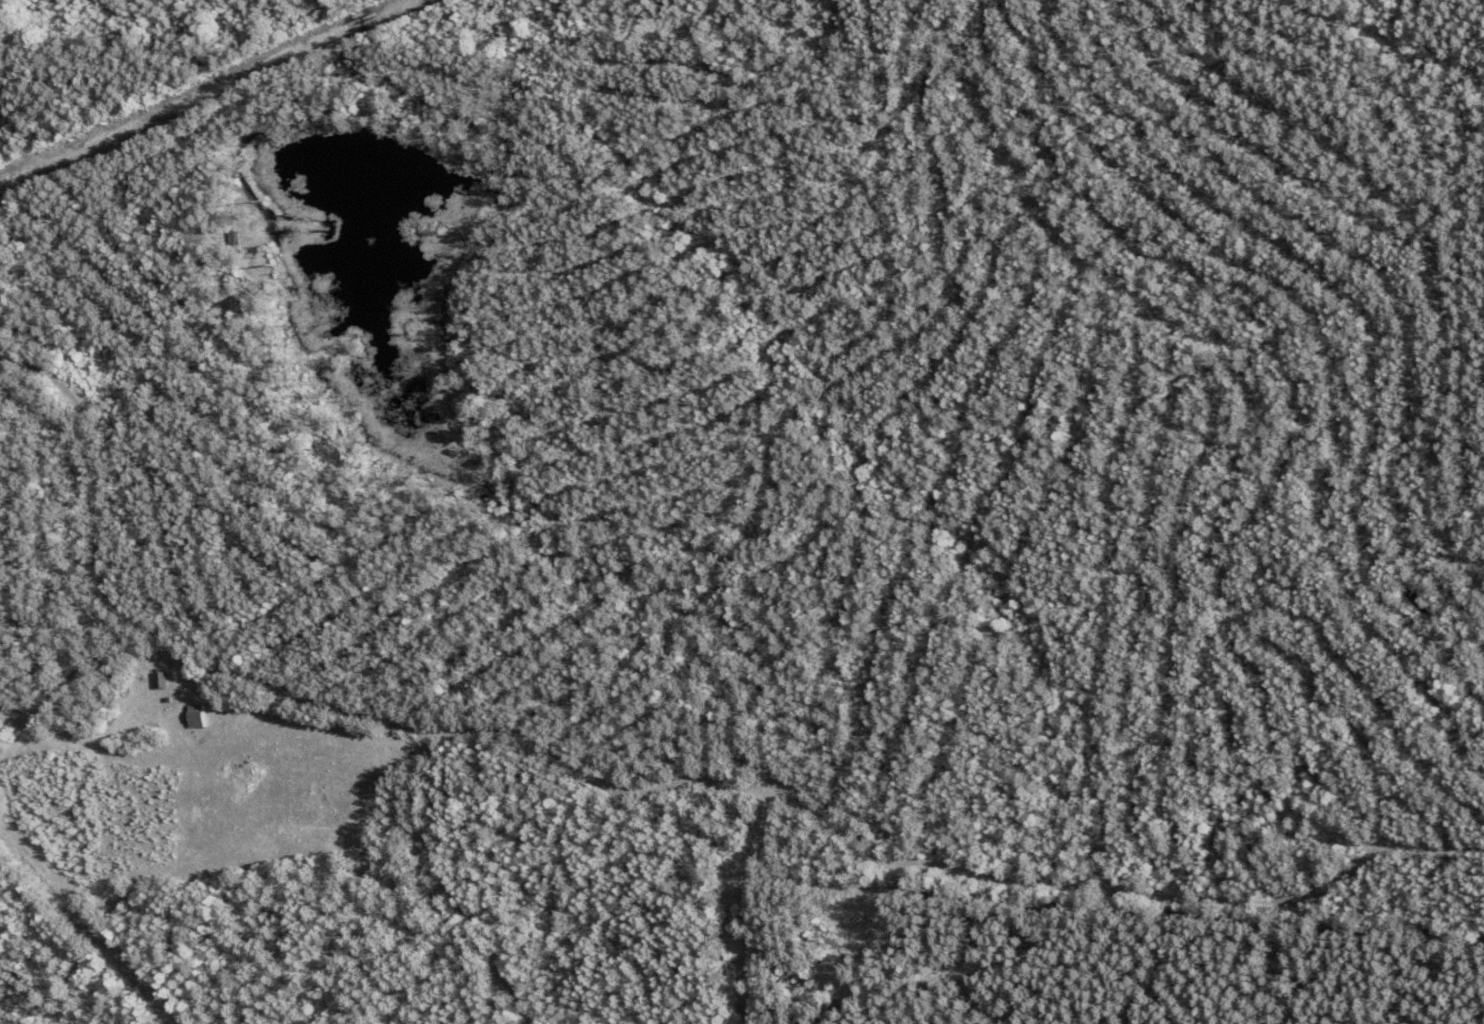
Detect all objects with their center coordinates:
building: (161, 678)
building: (196, 715)
road: (834, 818)

